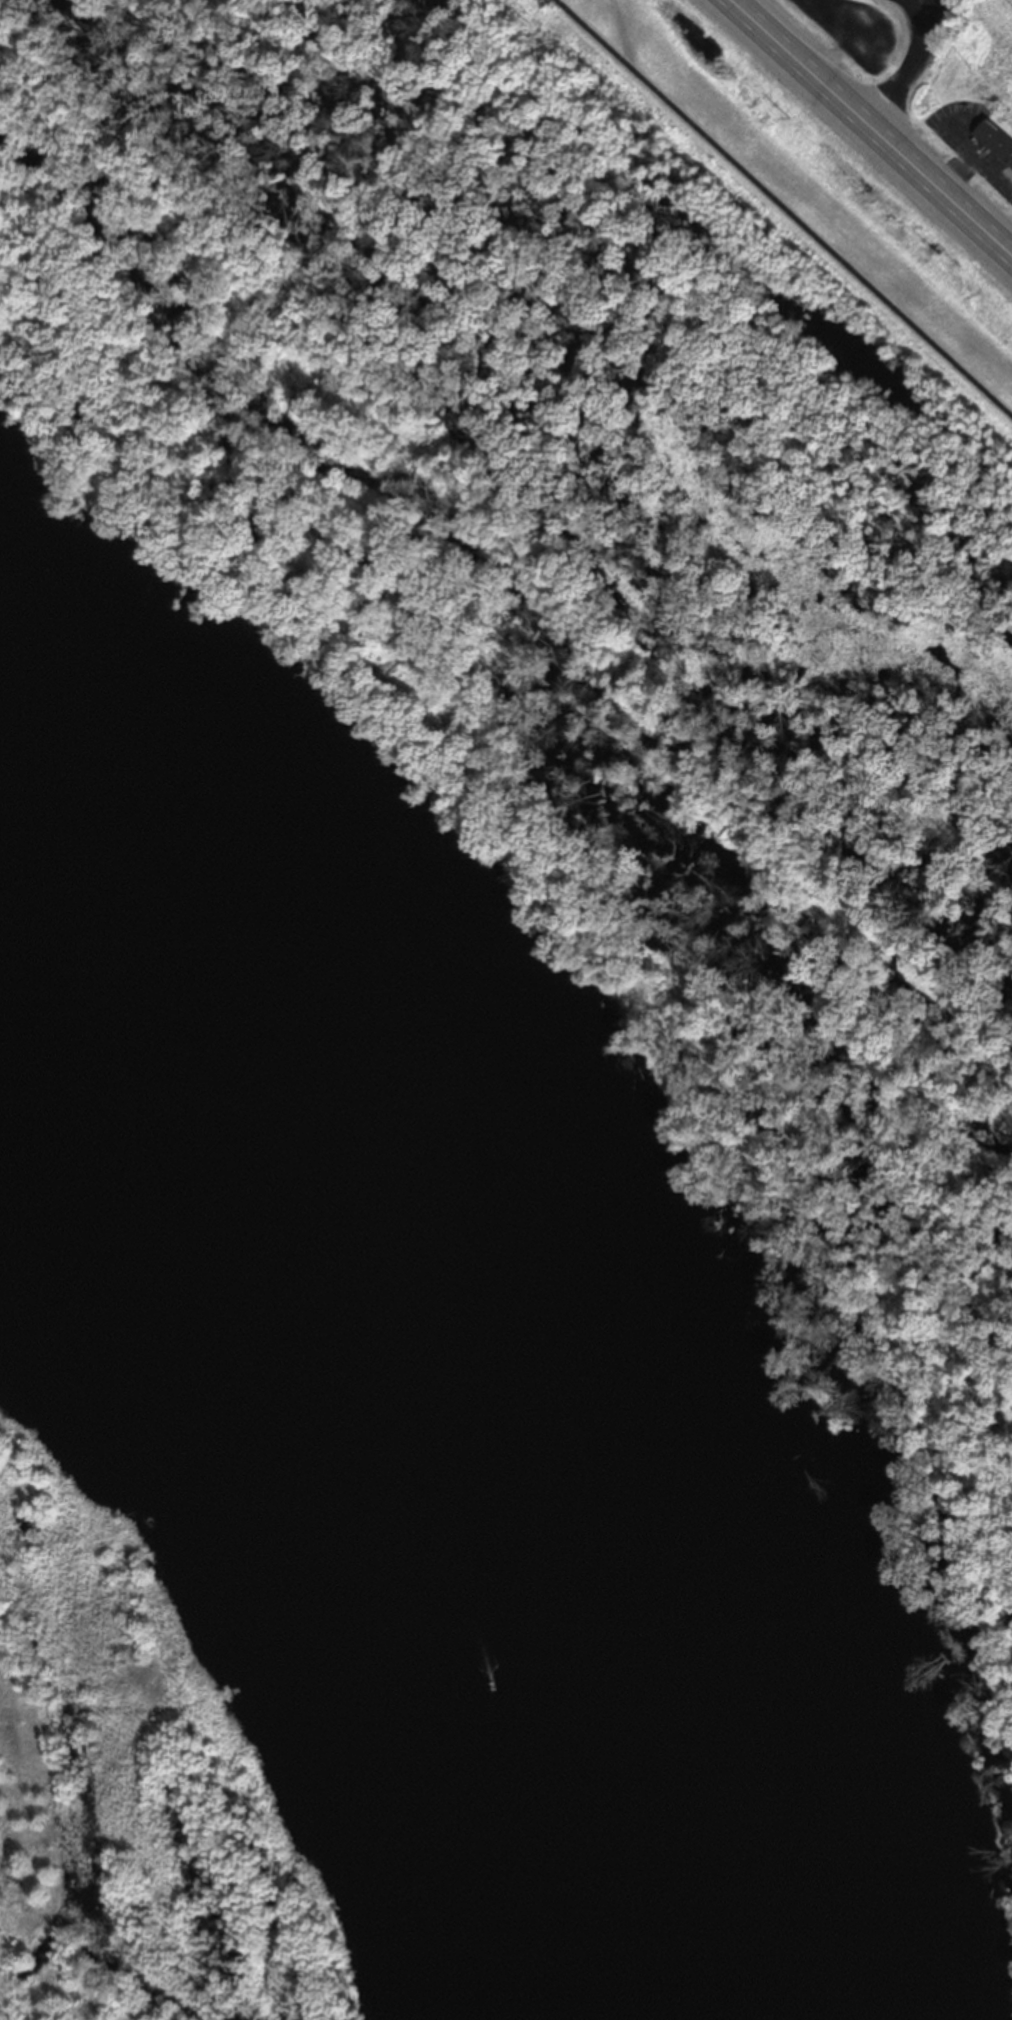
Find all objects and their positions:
road: (851, 117)
building: (994, 149)
road: (974, 167)
road: (993, 185)
road: (780, 210)
park: (805, 214)
road: (996, 248)
river: (368, 1455)

